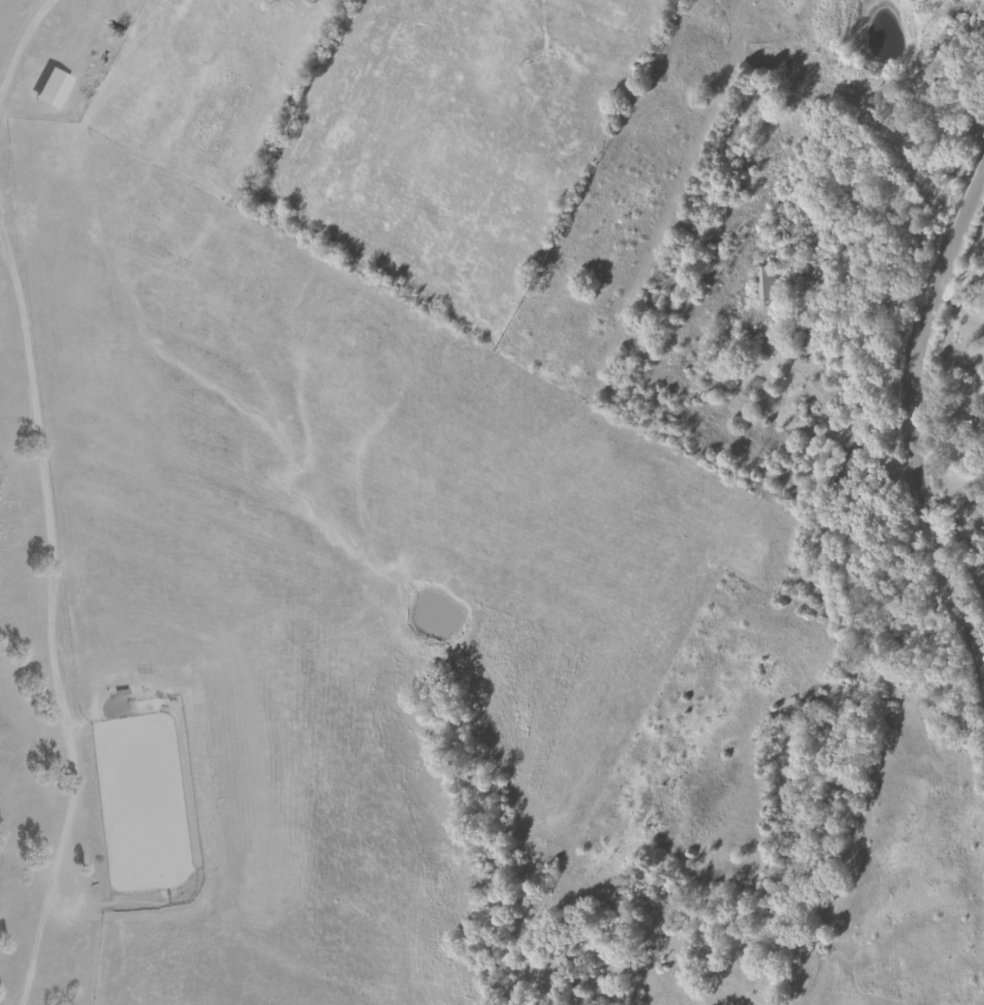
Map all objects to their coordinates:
building: (47, 89)
building: (763, 283)
road: (948, 399)
road: (912, 429)
road: (948, 479)
road: (53, 500)

